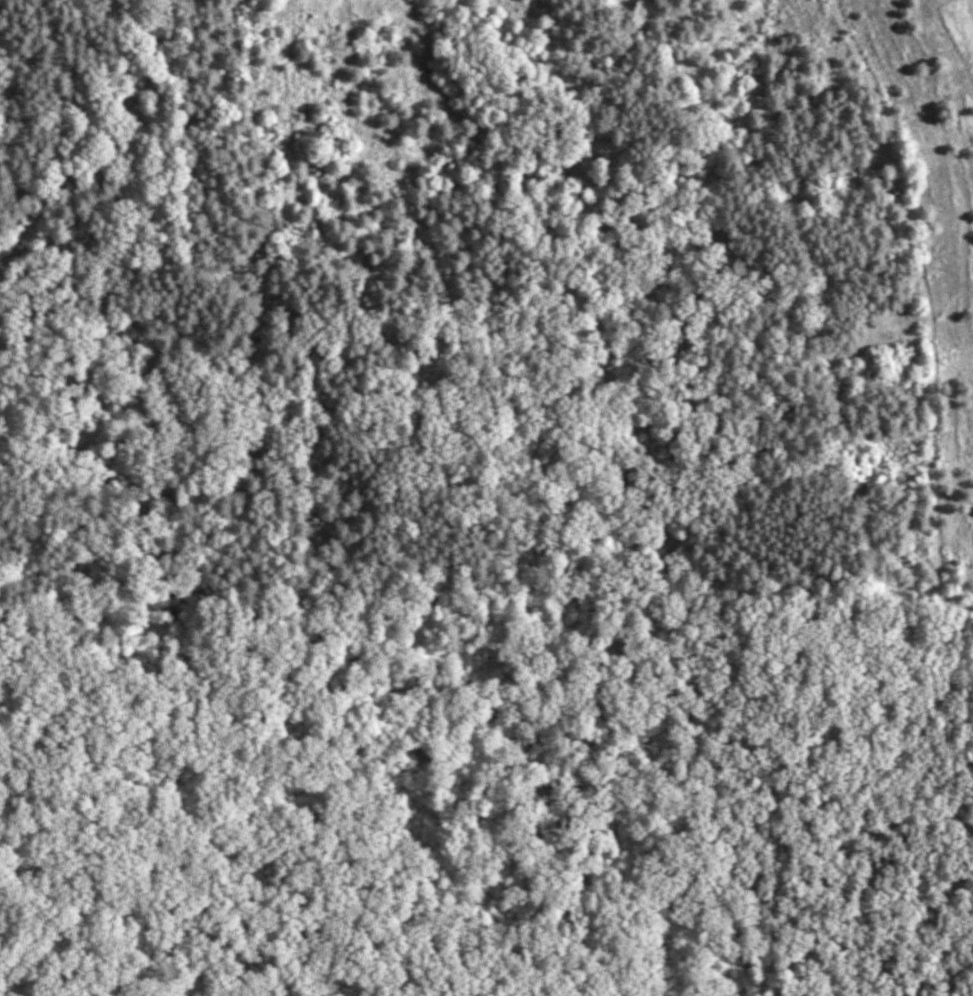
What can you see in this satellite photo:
road: (365, 906)

